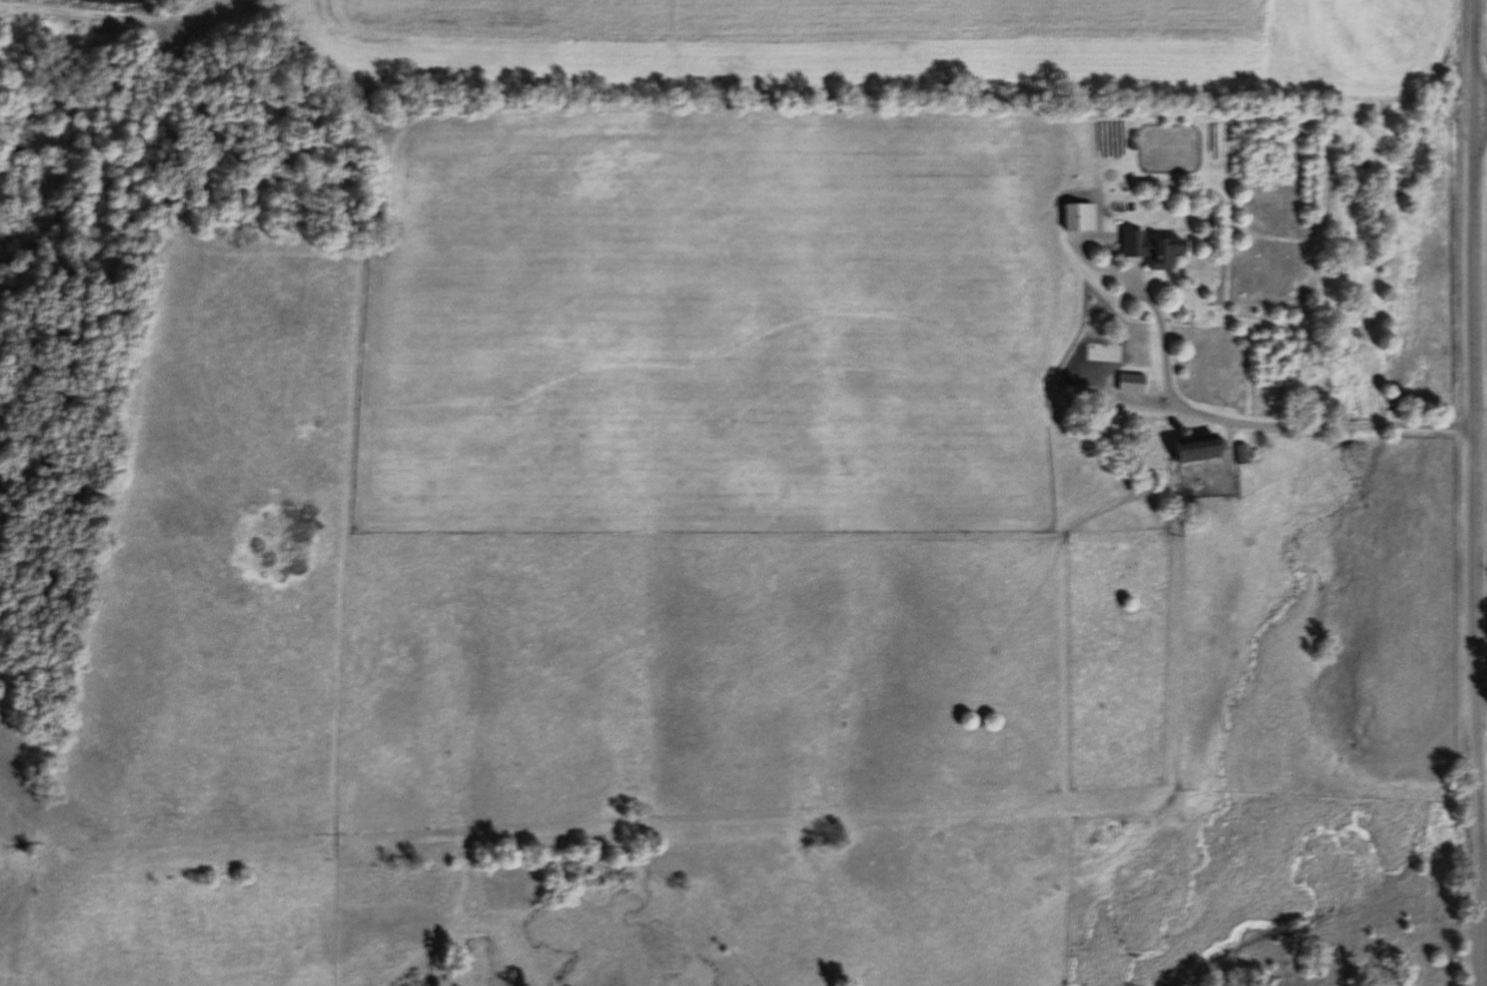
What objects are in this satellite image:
road: (1480, 103)
building: (1081, 217)
building: (1156, 249)
building: (1134, 382)
building: (1199, 447)
road: (1475, 493)

